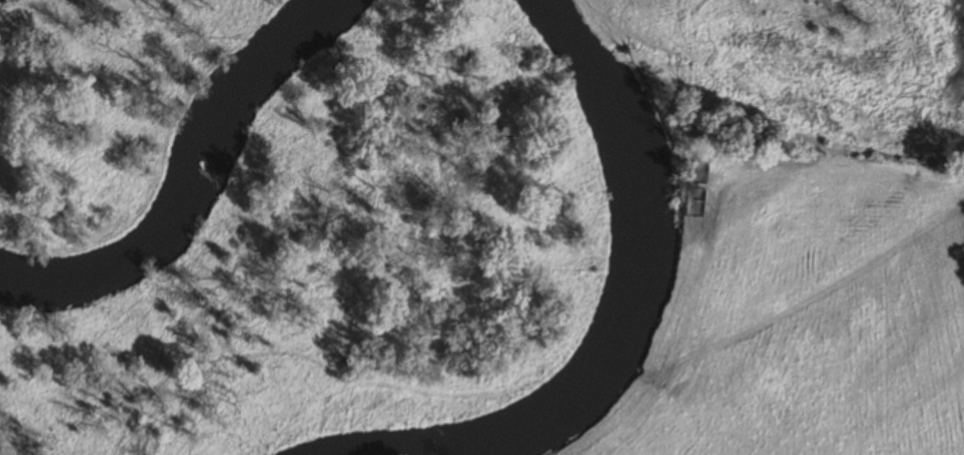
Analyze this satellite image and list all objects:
river: (631, 151)
river: (194, 180)
crop: (795, 300)
river: (489, 436)

